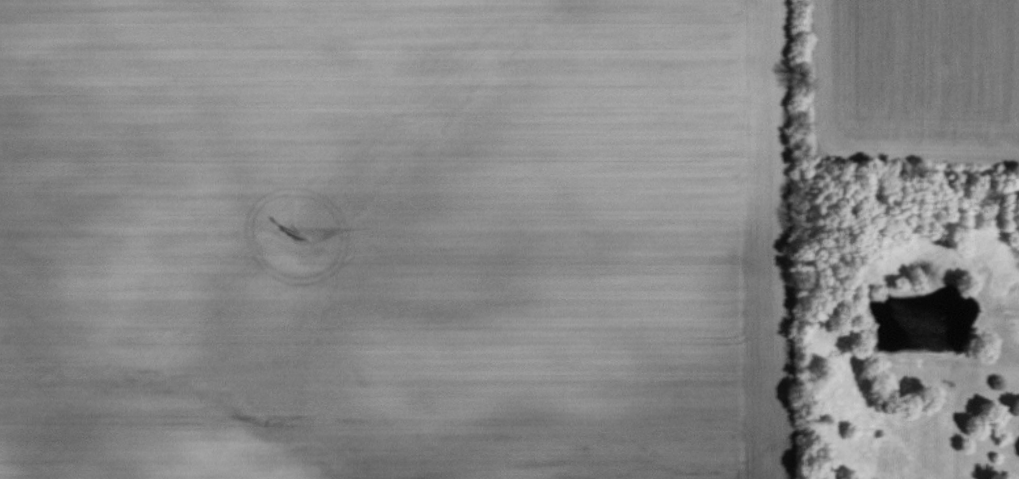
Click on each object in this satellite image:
power tower: (295, 235)

